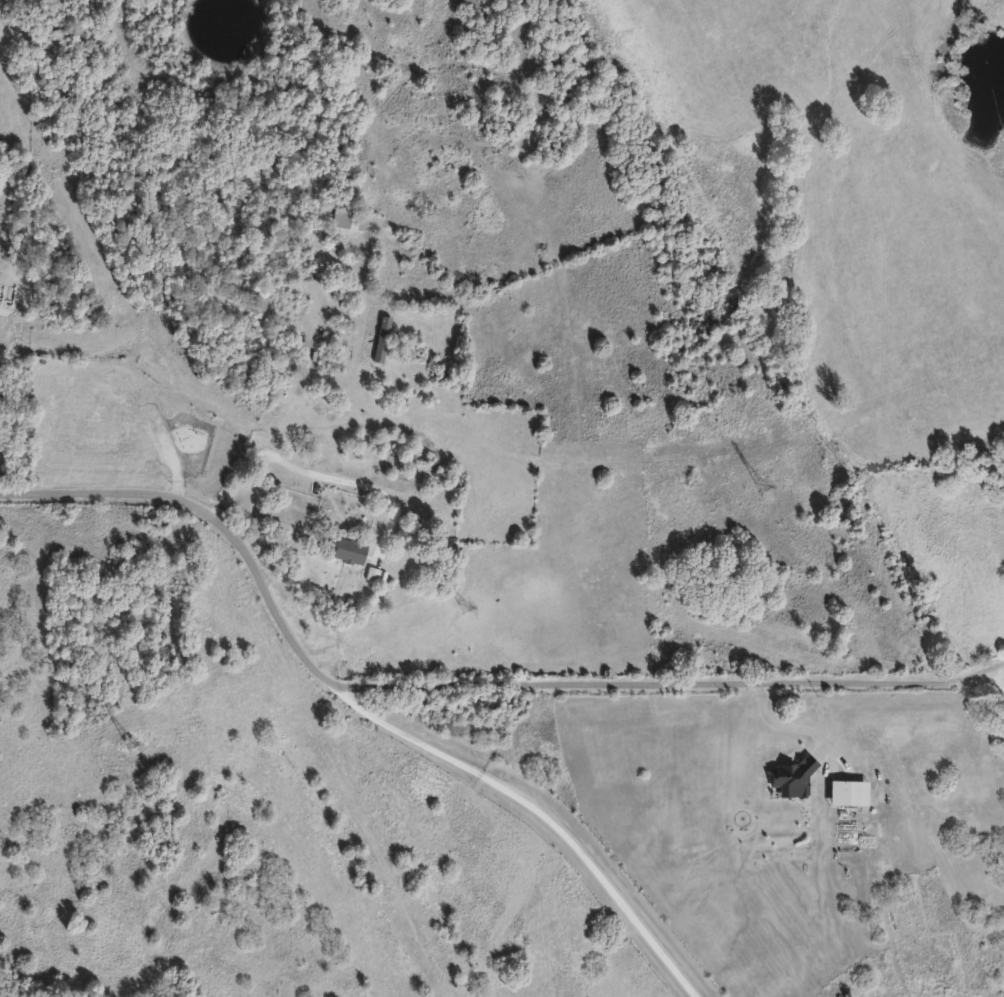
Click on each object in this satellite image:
building: (352, 218)
building: (383, 339)
road: (256, 452)
power tower: (761, 485)
building: (352, 548)
power tower: (465, 605)
road: (987, 671)
road: (987, 681)
road: (466, 684)
road: (785, 725)
power tower: (131, 742)
building: (853, 791)
road: (544, 811)

